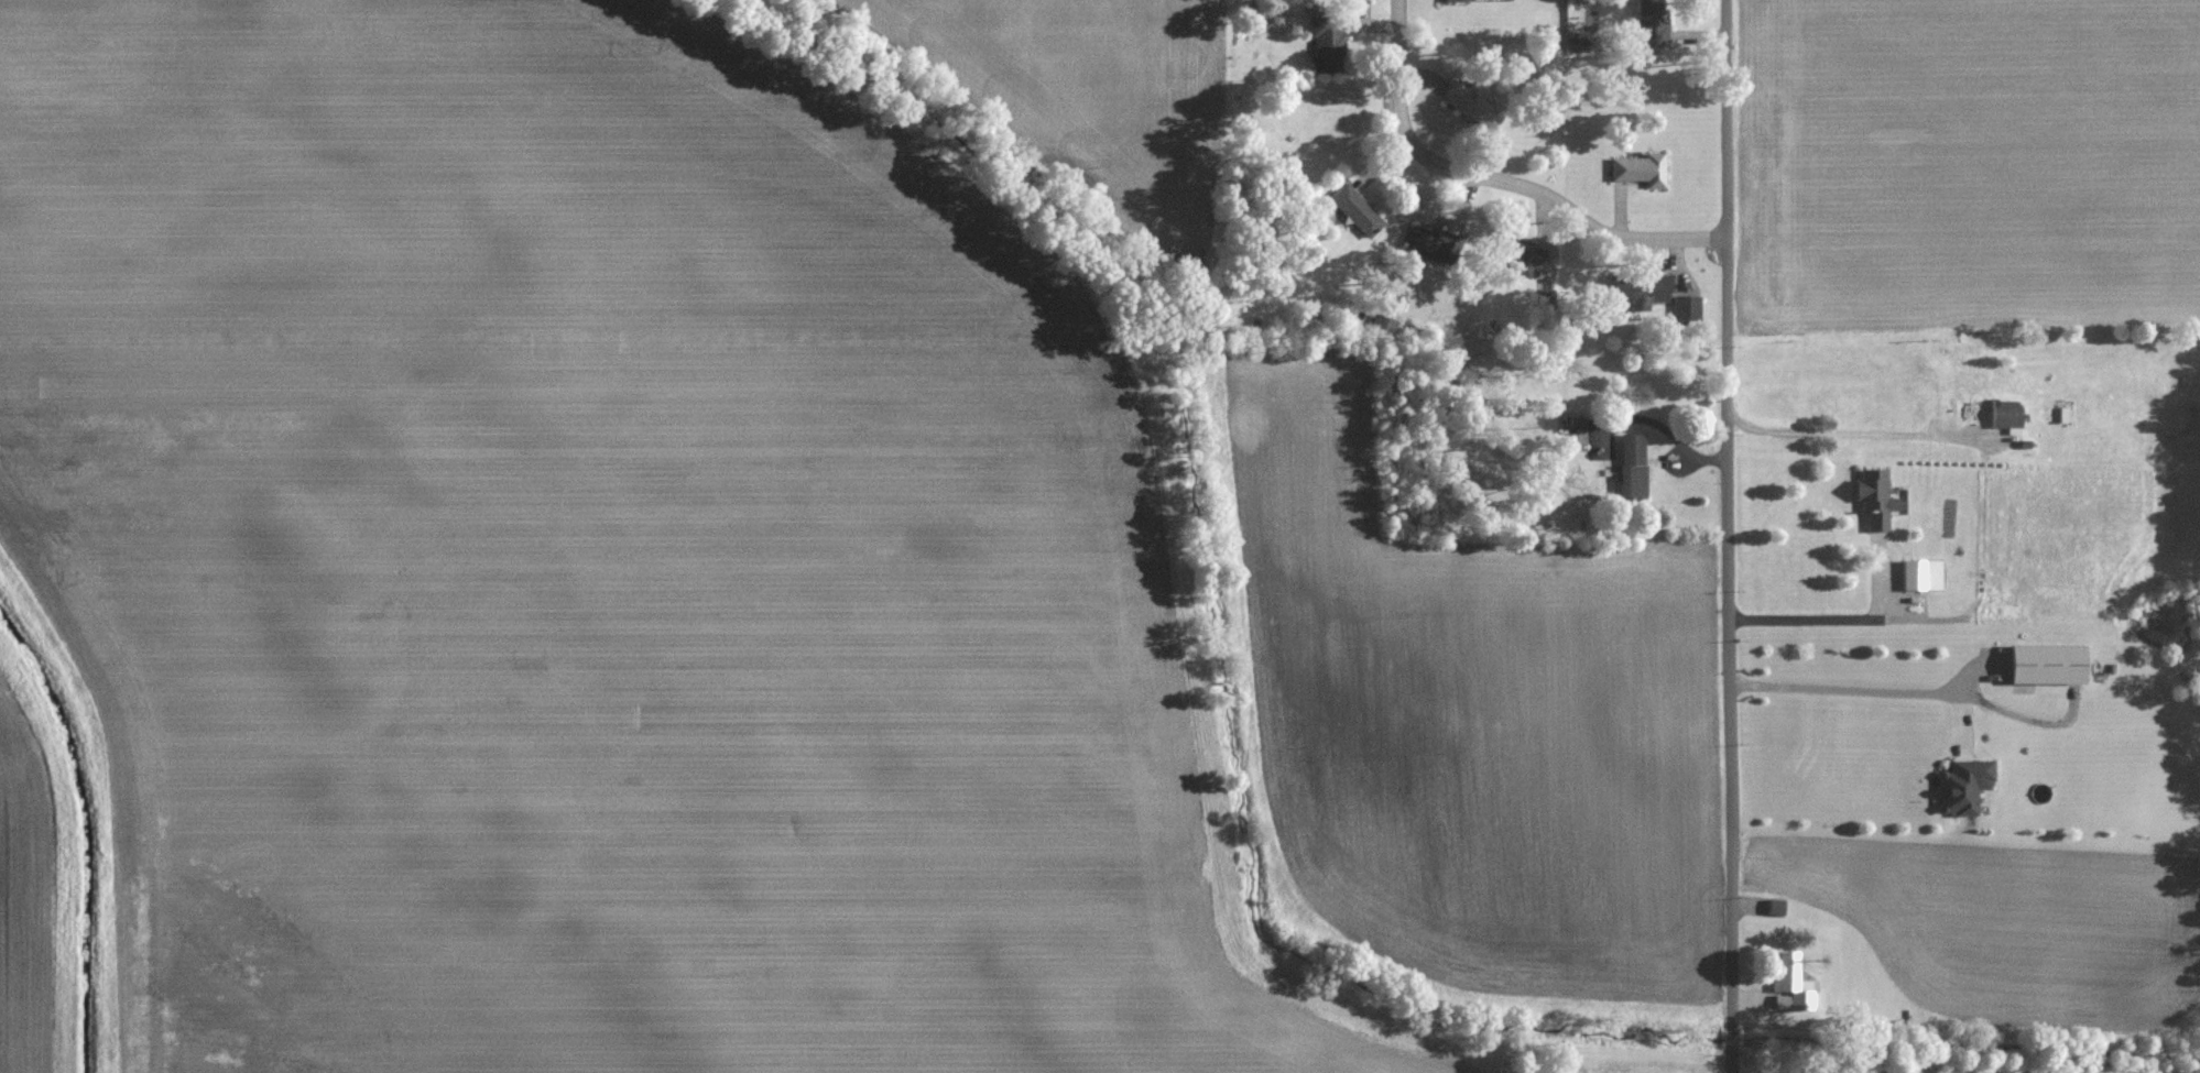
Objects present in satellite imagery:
building: (1456, 0)
building: (1654, 23)
building: (1329, 45)
building: (1477, 105)
building: (1641, 171)
road: (1500, 180)
building: (1359, 211)
building: (1435, 244)
building: (1521, 255)
building: (1641, 289)
building: (1688, 308)
building: (1993, 401)
road: (1863, 414)
building: (1634, 467)
building: (1876, 499)
road: (1729, 536)
building: (1916, 574)
road: (1834, 602)
building: (2049, 665)
road: (1870, 685)
building: (1965, 786)
building: (1793, 985)

